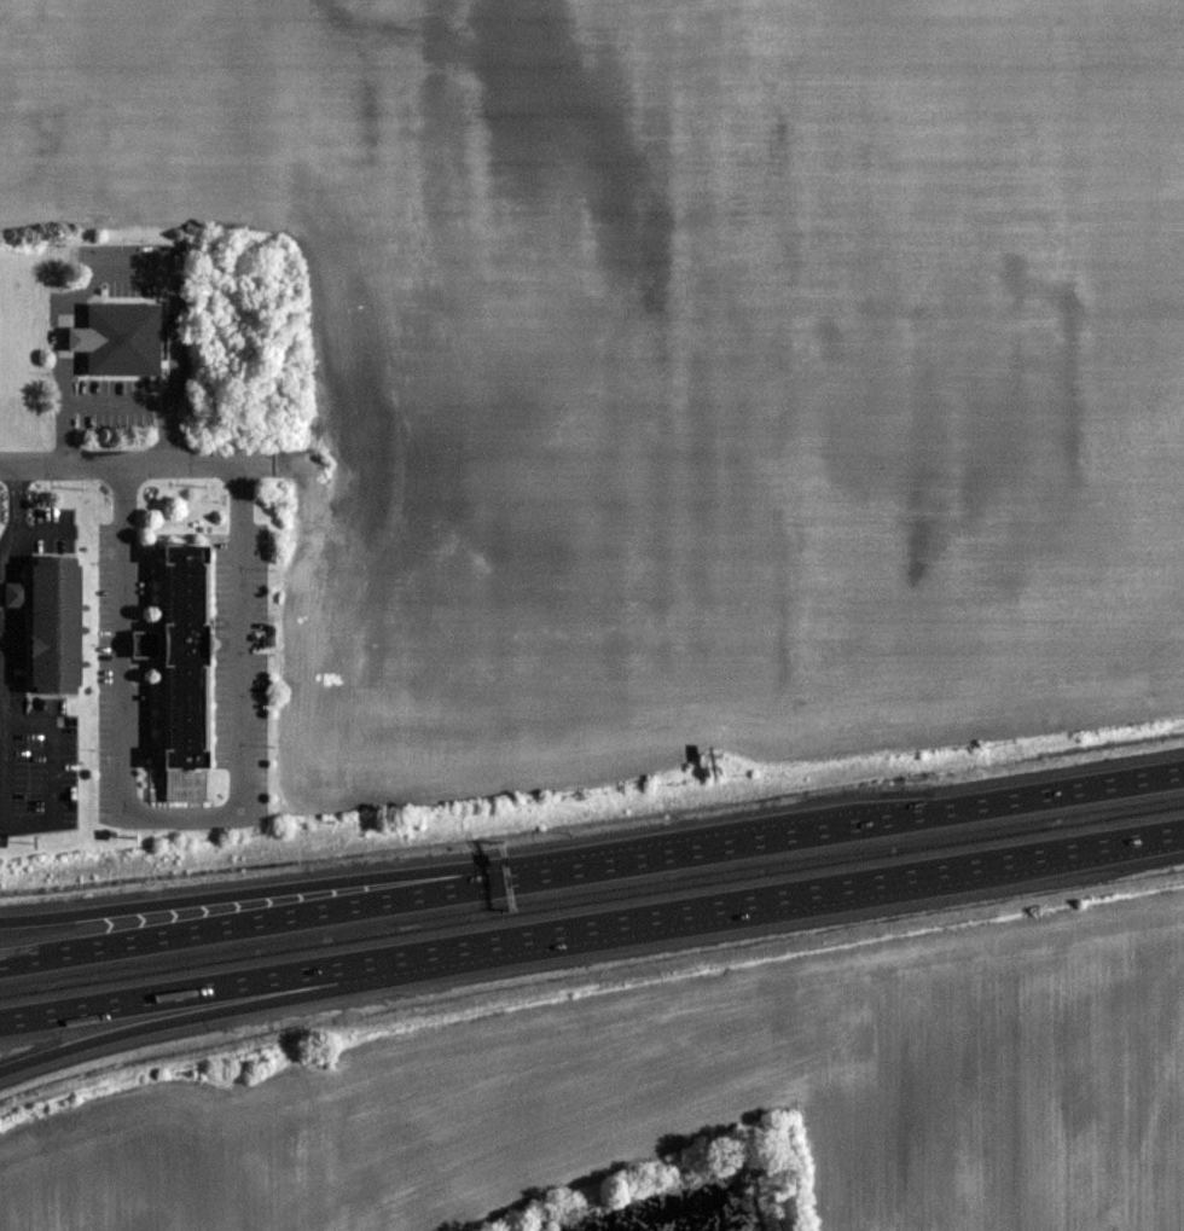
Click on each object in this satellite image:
building: (108, 339)
road: (121, 414)
road: (137, 464)
road: (13, 522)
building: (60, 648)
building: (185, 652)
road: (182, 818)
road: (47, 820)
road: (591, 861)
road: (249, 892)
road: (592, 933)
road: (191, 1016)

